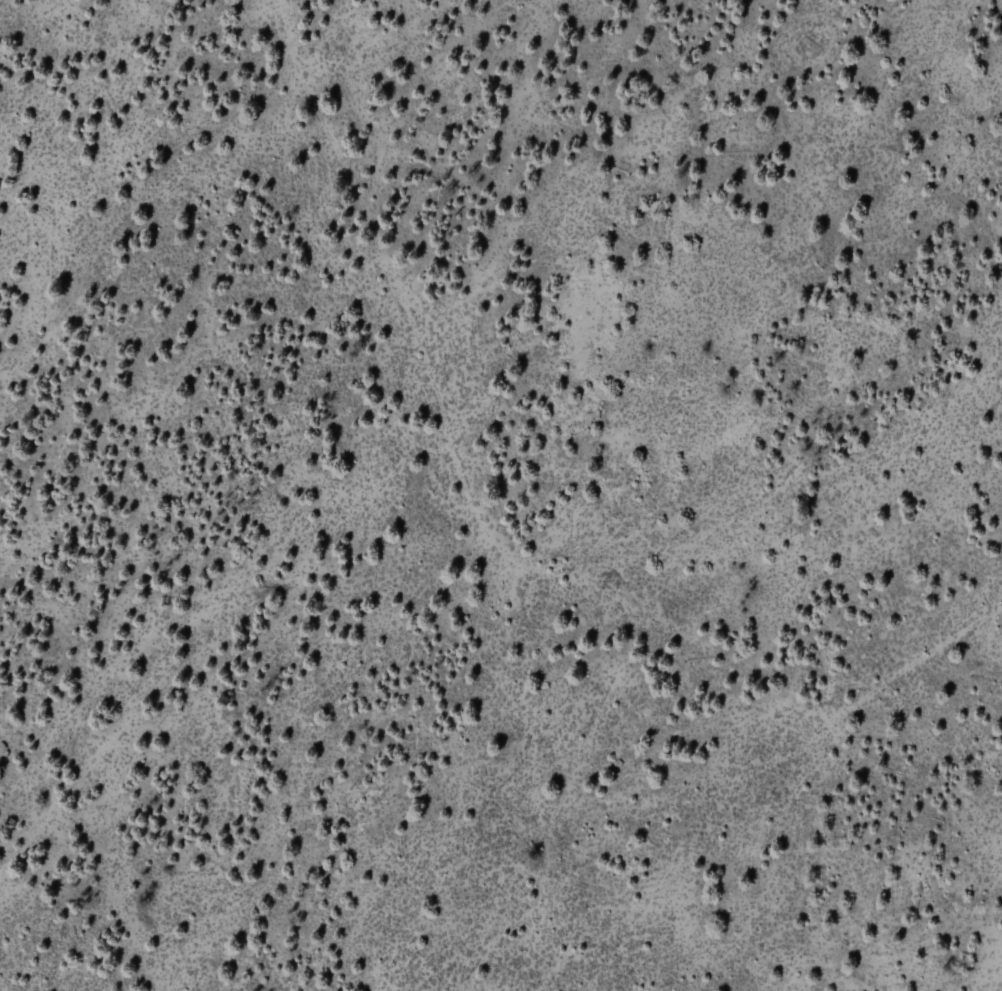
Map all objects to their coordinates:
road: (492, 539)
road: (578, 785)

